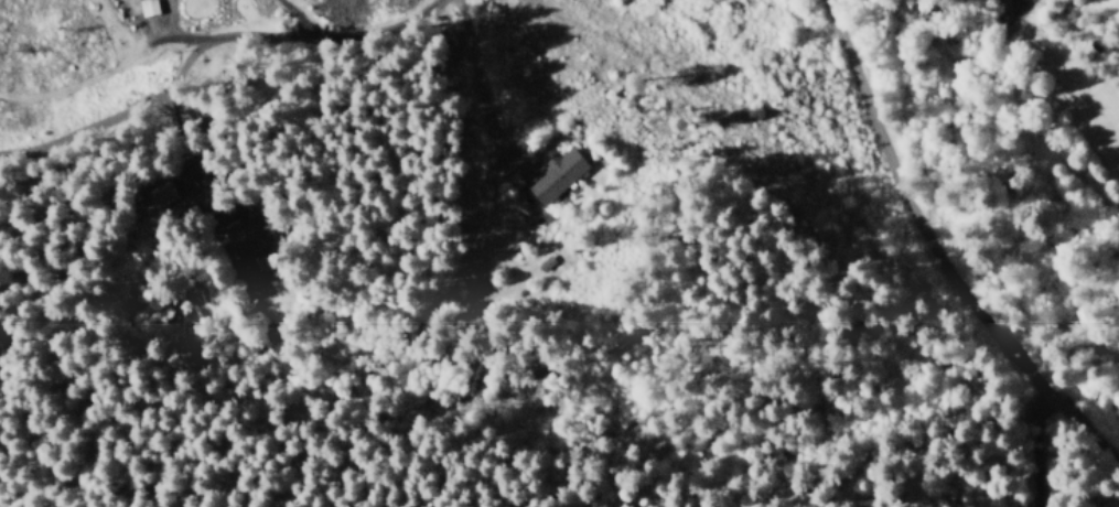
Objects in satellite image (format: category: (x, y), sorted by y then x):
building: (557, 174)
road: (397, 216)
road: (918, 233)
building: (249, 238)

